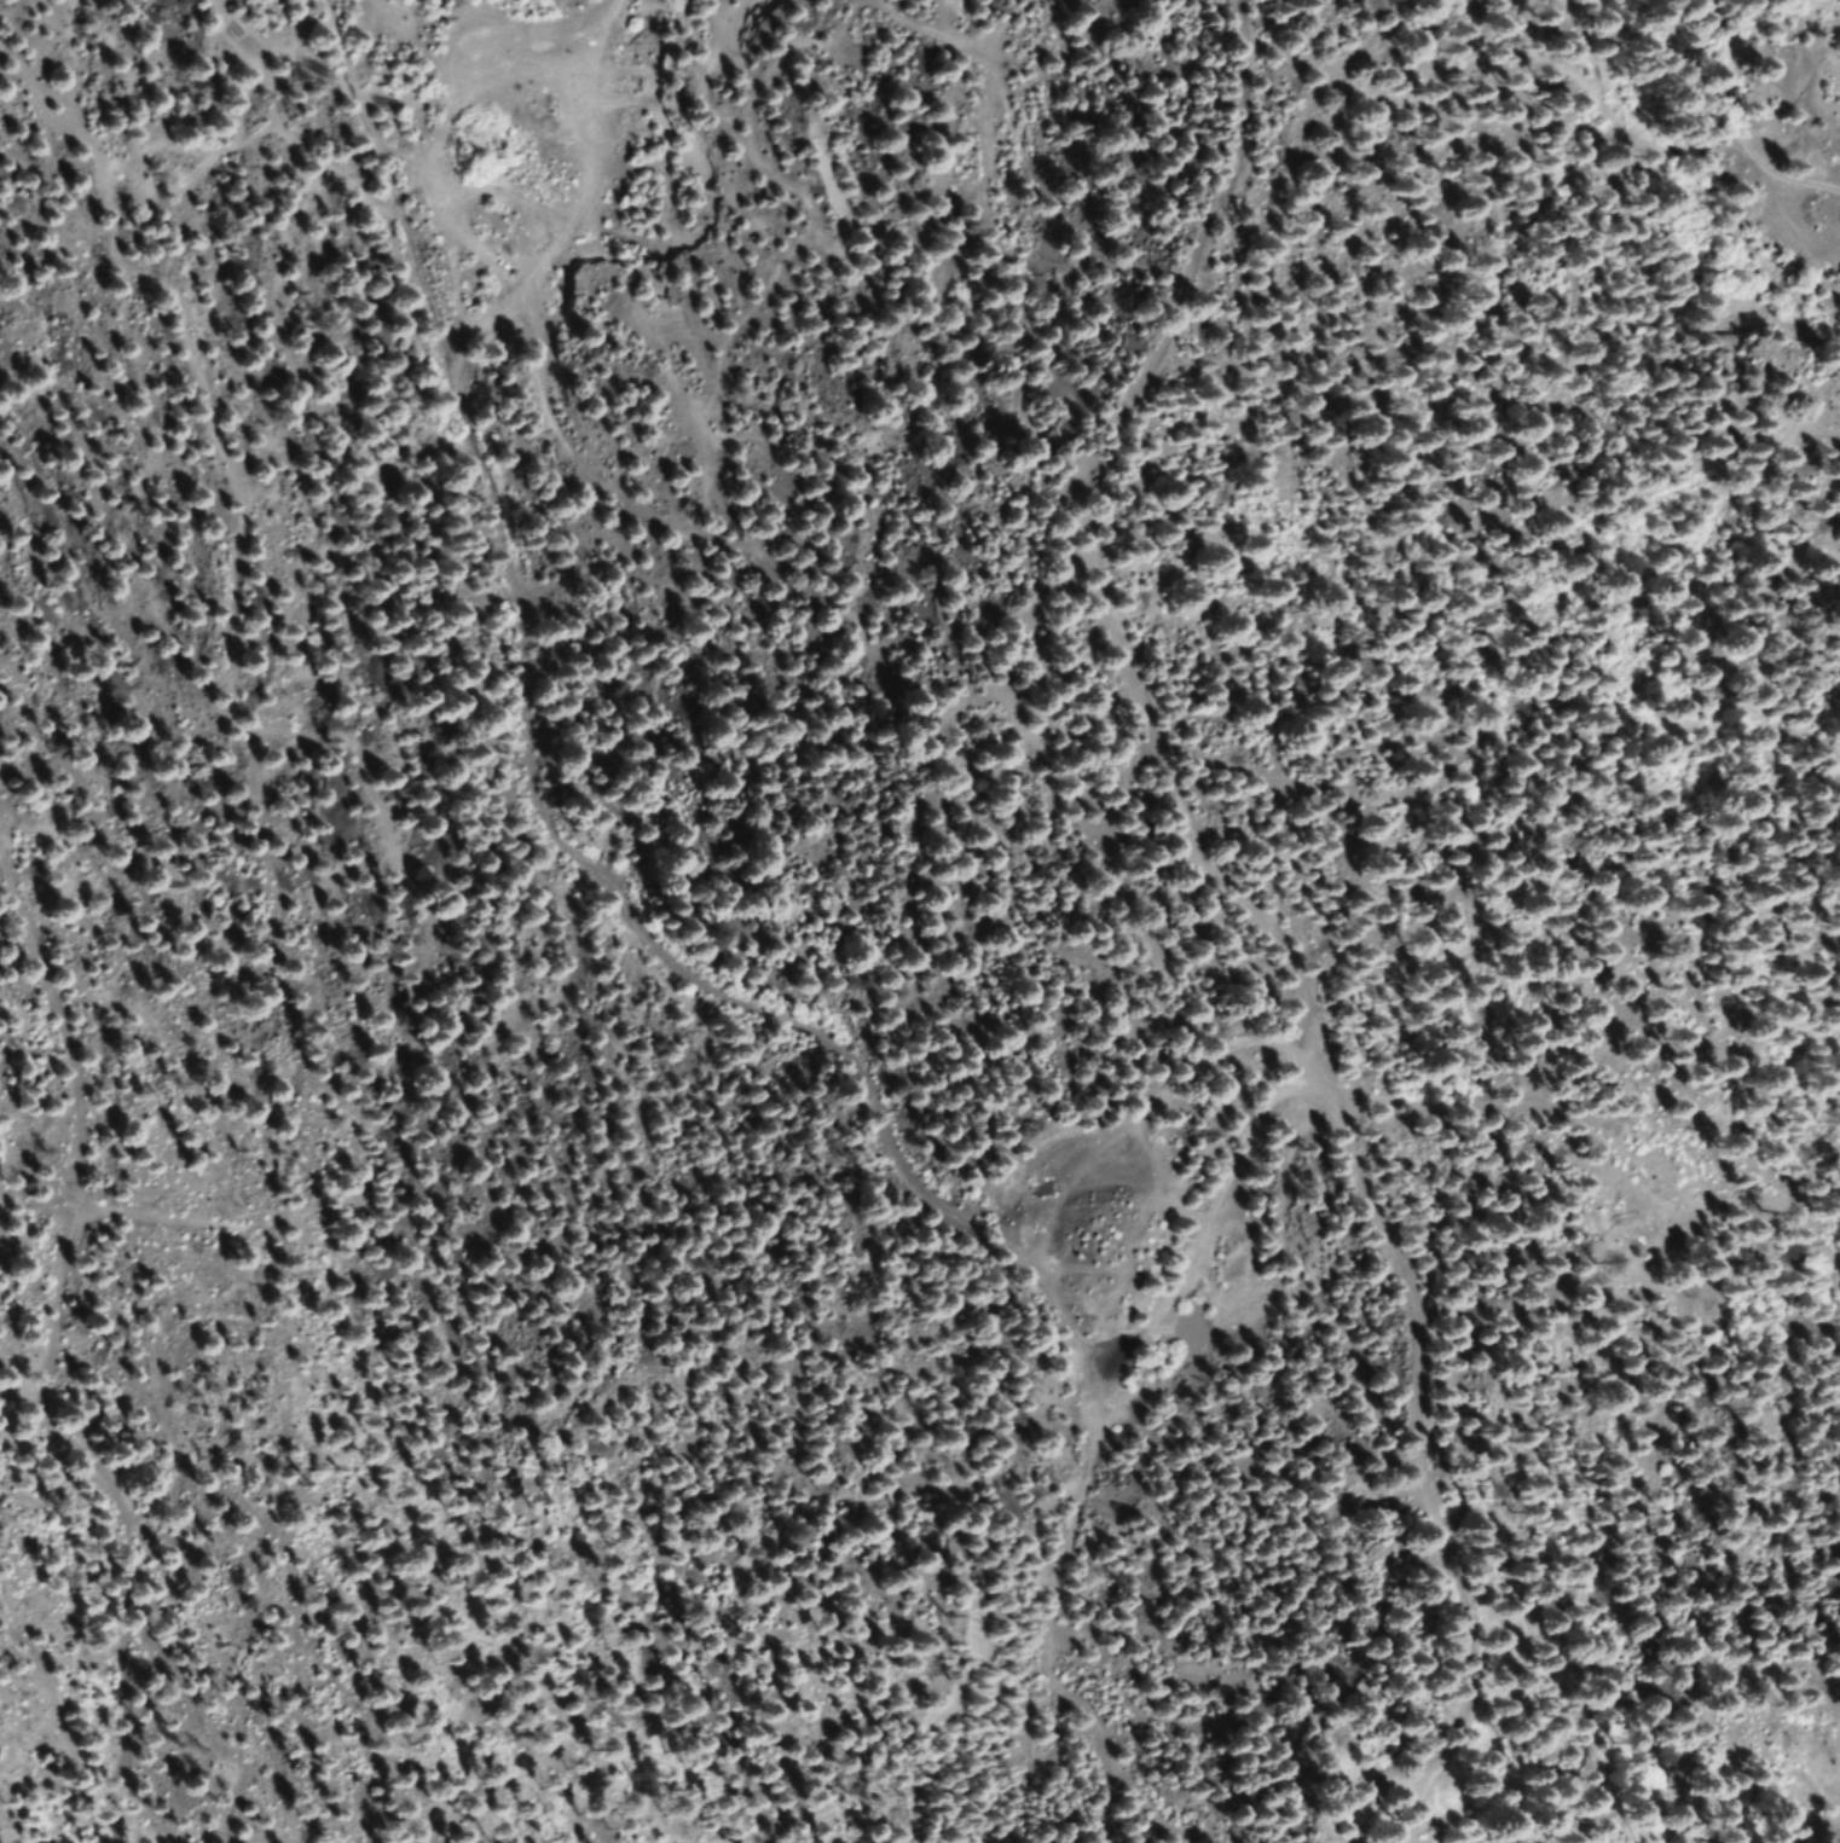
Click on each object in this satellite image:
road: (1445, 1826)

